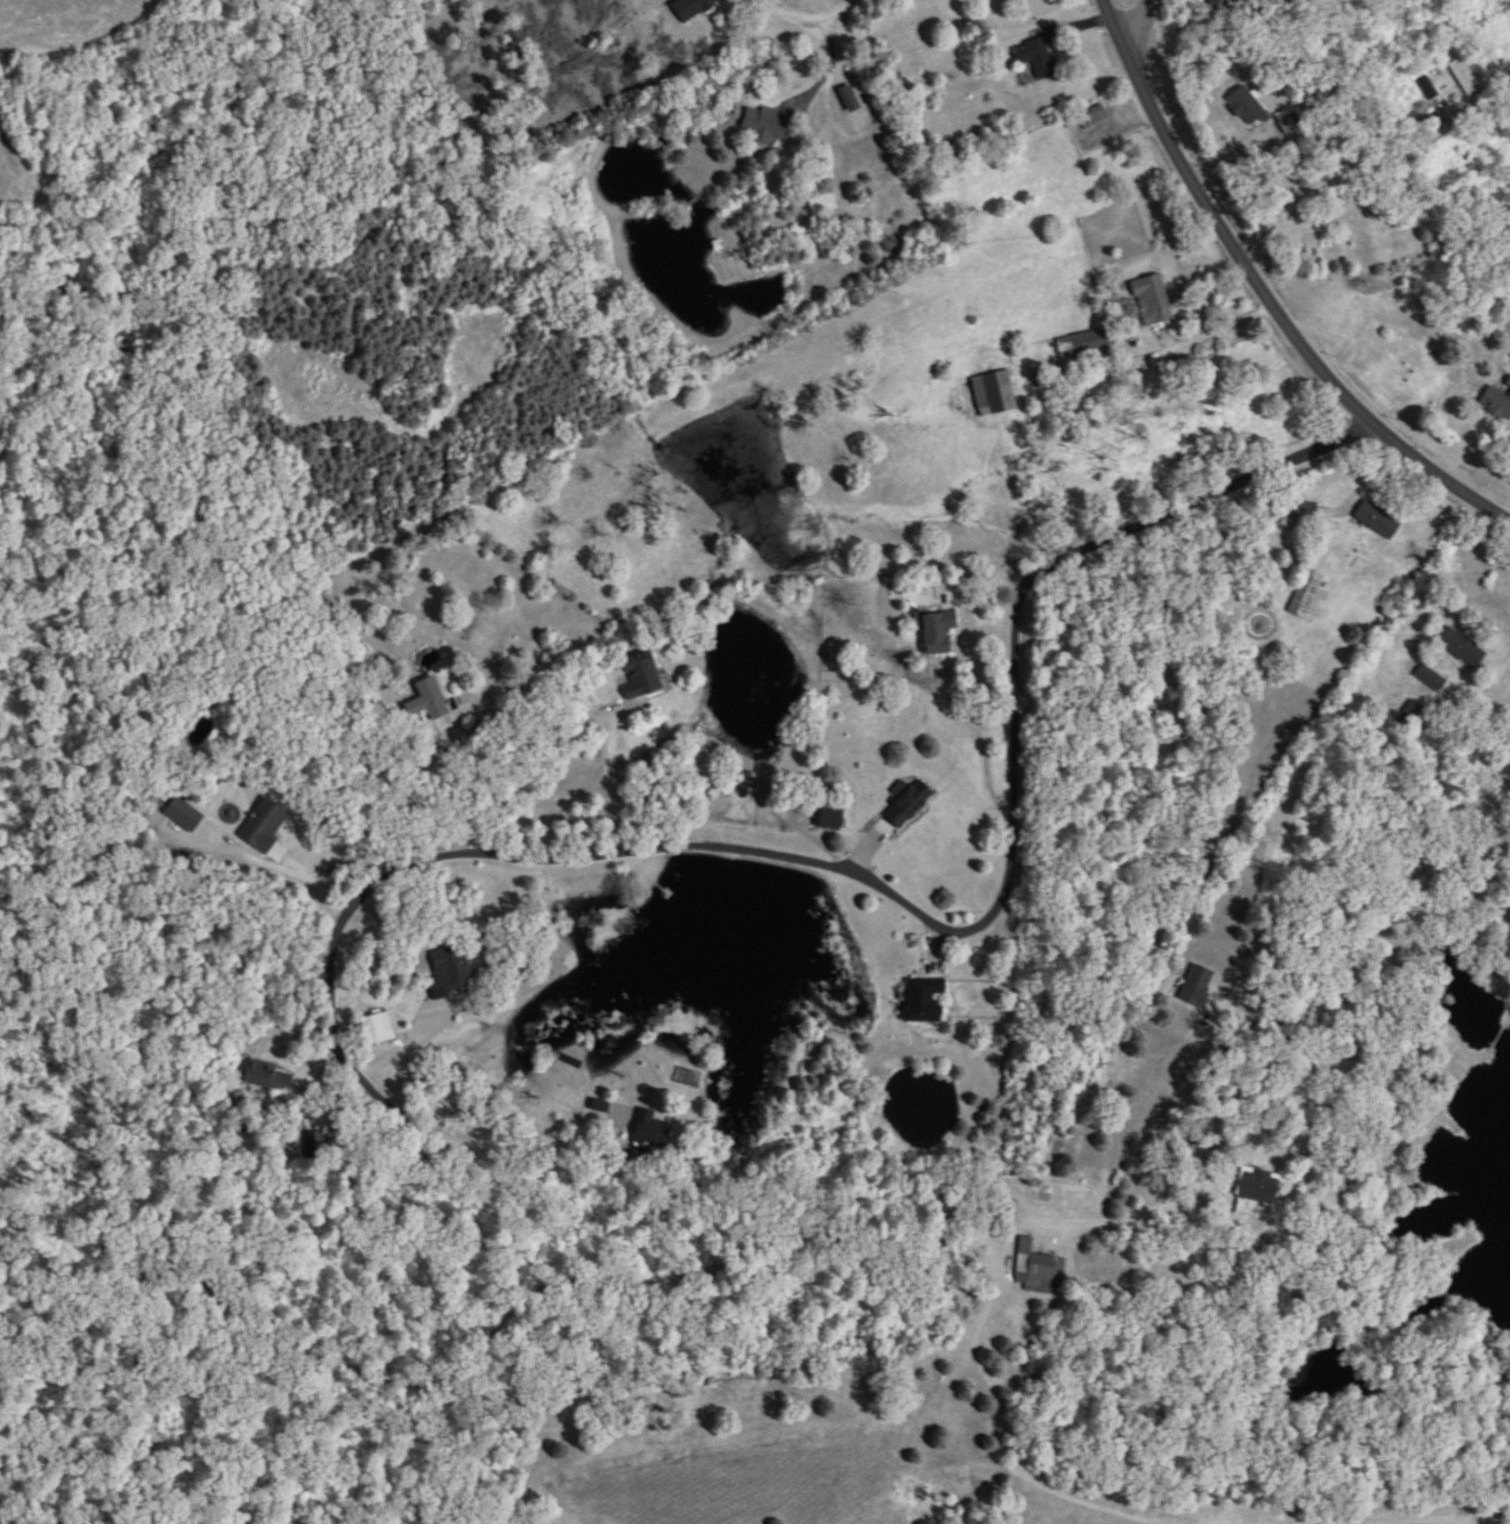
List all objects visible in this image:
building: (1014, 0)
road: (849, 4)
building: (693, 8)
road: (803, 21)
road: (1140, 36)
building: (1036, 59)
road: (830, 68)
building: (1463, 77)
building: (1246, 108)
building: (1093, 118)
building: (1288, 121)
building: (763, 125)
road: (1232, 152)
building: (822, 201)
road: (1350, 207)
road: (1262, 297)
building: (1151, 300)
building: (1083, 344)
road: (1191, 345)
building: (1509, 358)
building: (1508, 385)
building: (994, 394)
building: (1496, 405)
road: (1196, 500)
building: (1305, 511)
building: (1376, 521)
road: (971, 573)
building: (1305, 595)
building: (937, 633)
building: (1461, 648)
building: (640, 679)
building: (1430, 679)
road: (1498, 690)
building: (428, 701)
road: (616, 782)
road: (440, 794)
building: (908, 805)
building: (830, 820)
building: (264, 827)
road: (780, 855)
road: (346, 860)
road: (311, 882)
road: (1367, 953)
building: (446, 975)
building: (924, 1001)
building: (378, 1029)
road: (415, 1045)
building: (271, 1078)
building: (652, 1132)
road: (460, 1140)
building: (1258, 1189)
road: (1133, 1216)
building: (1038, 1270)

